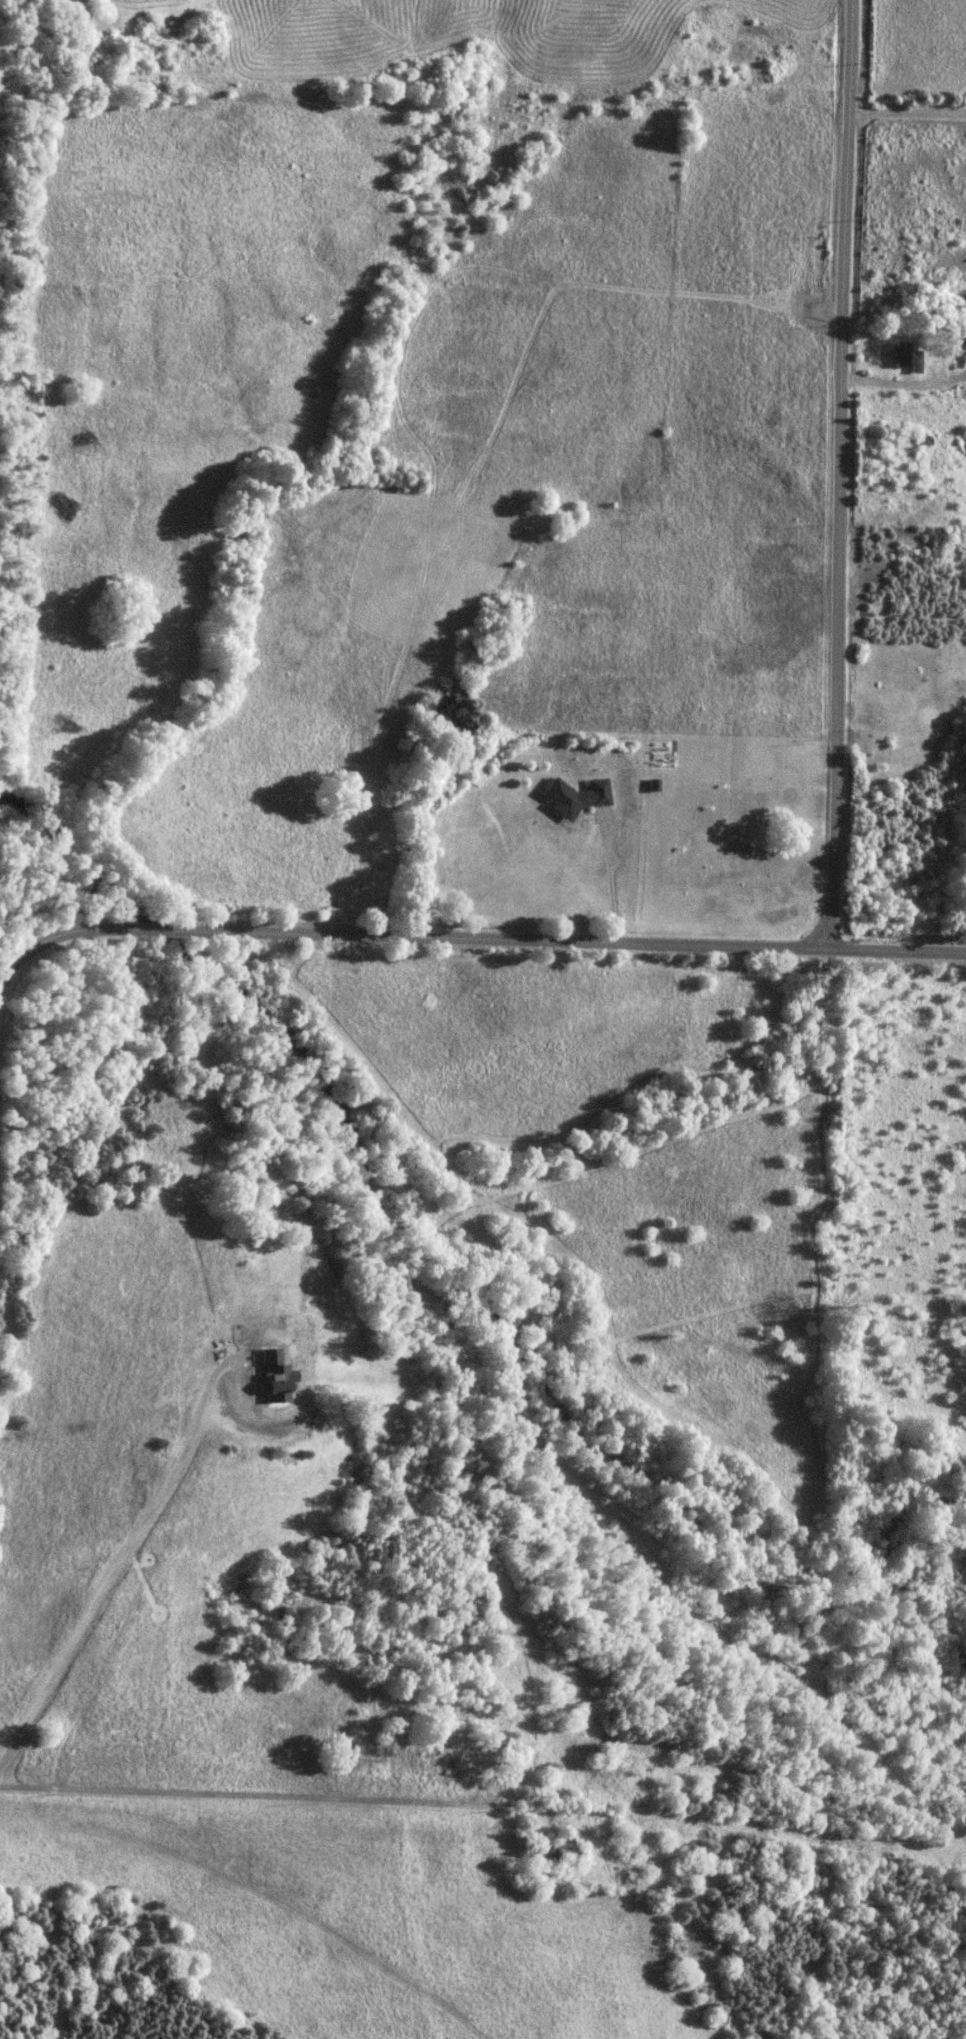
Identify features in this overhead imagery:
road: (904, 111)
building: (957, 338)
building: (901, 358)
building: (917, 439)
road: (838, 476)
building: (571, 797)
road: (607, 878)
road: (87, 927)
road: (582, 942)
road: (114, 1559)
building: (444, 1764)
building: (555, 1848)

